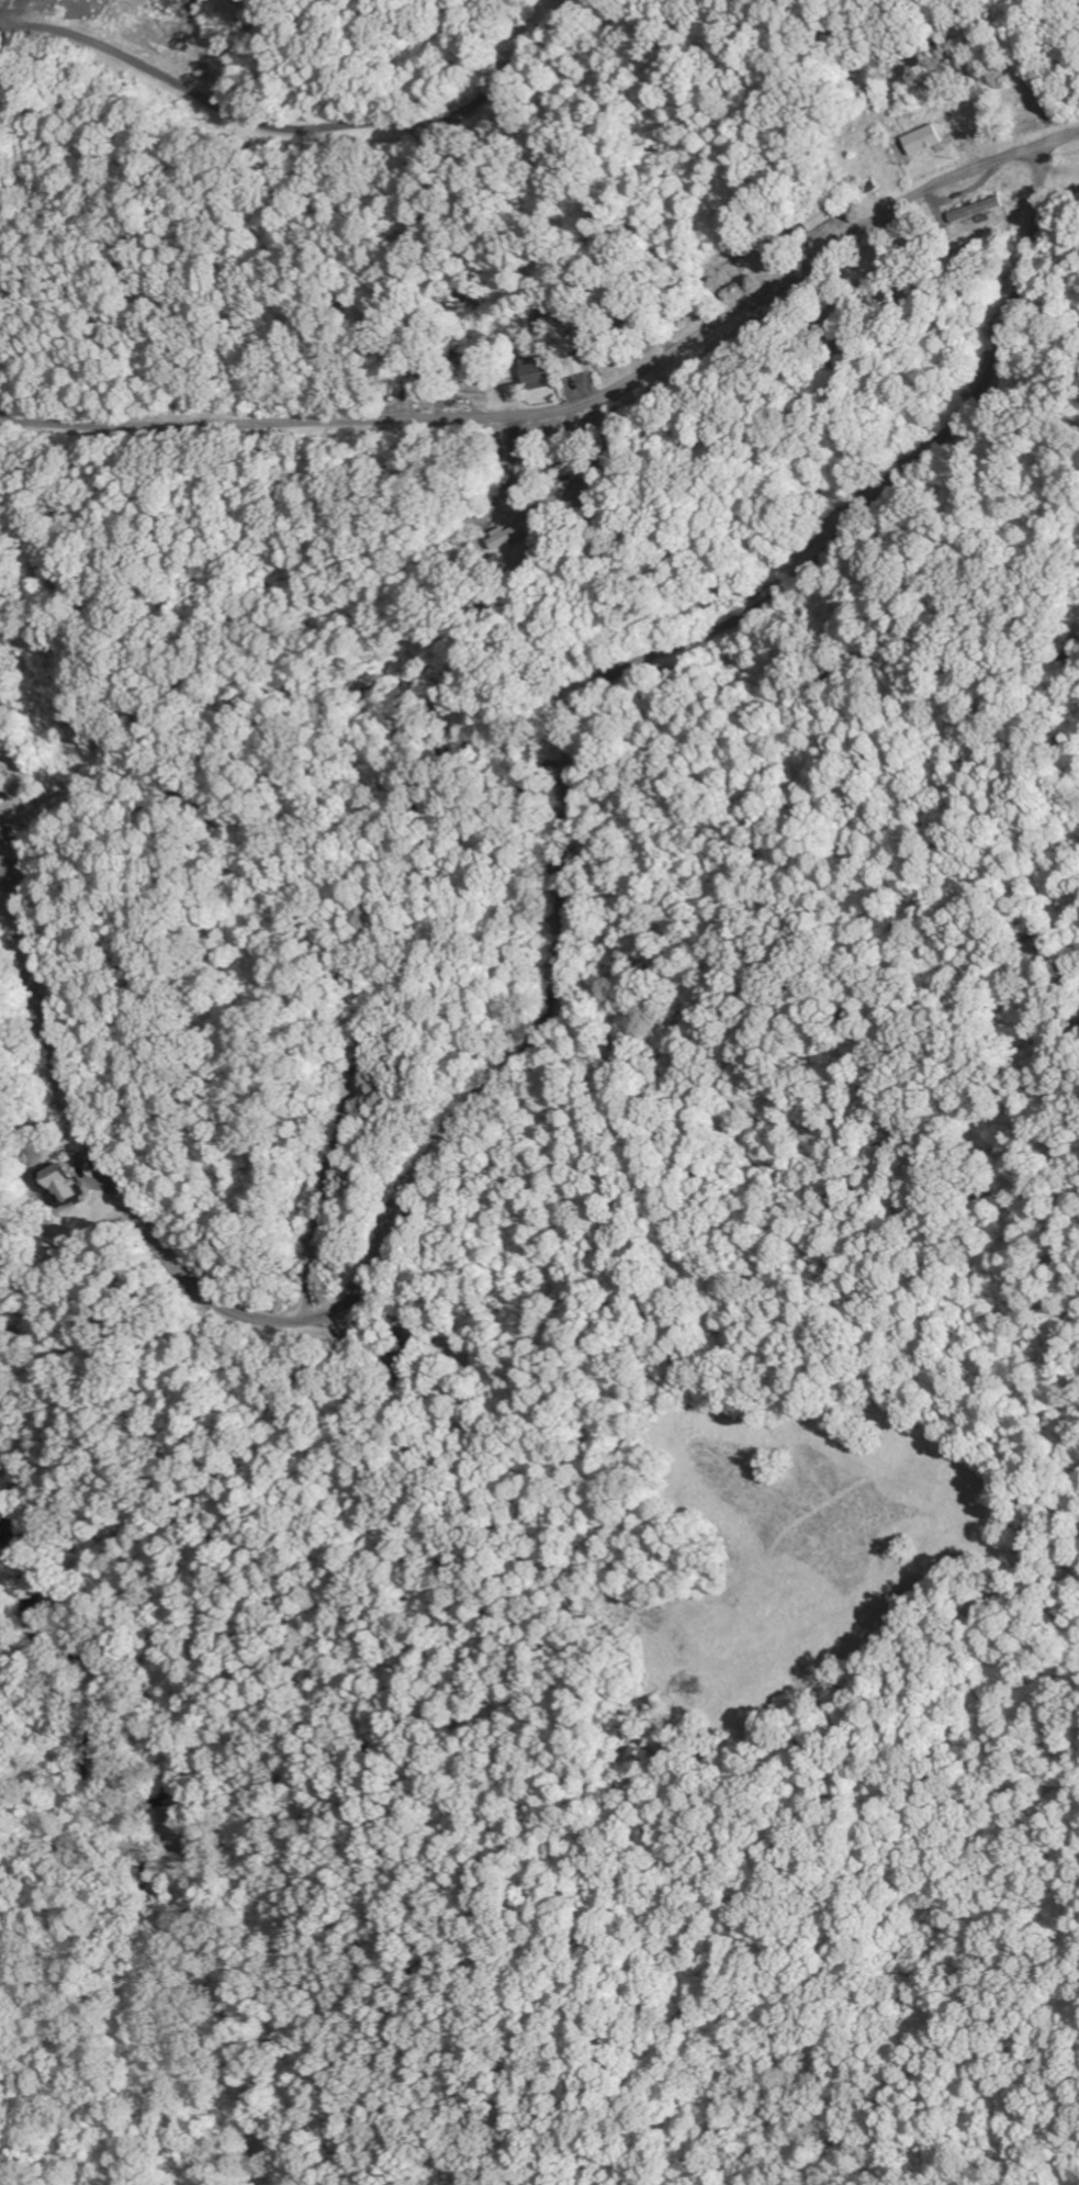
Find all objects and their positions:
road: (303, 126)
building: (924, 141)
building: (980, 210)
building: (822, 218)
road: (767, 360)
building: (577, 365)
building: (535, 374)
road: (574, 407)
road: (514, 452)
road: (756, 452)
building: (567, 471)
road: (729, 482)
road: (321, 683)
road: (636, 771)
building: (2, 794)
road: (560, 840)
road: (342, 863)
road: (36, 986)
building: (63, 1188)

